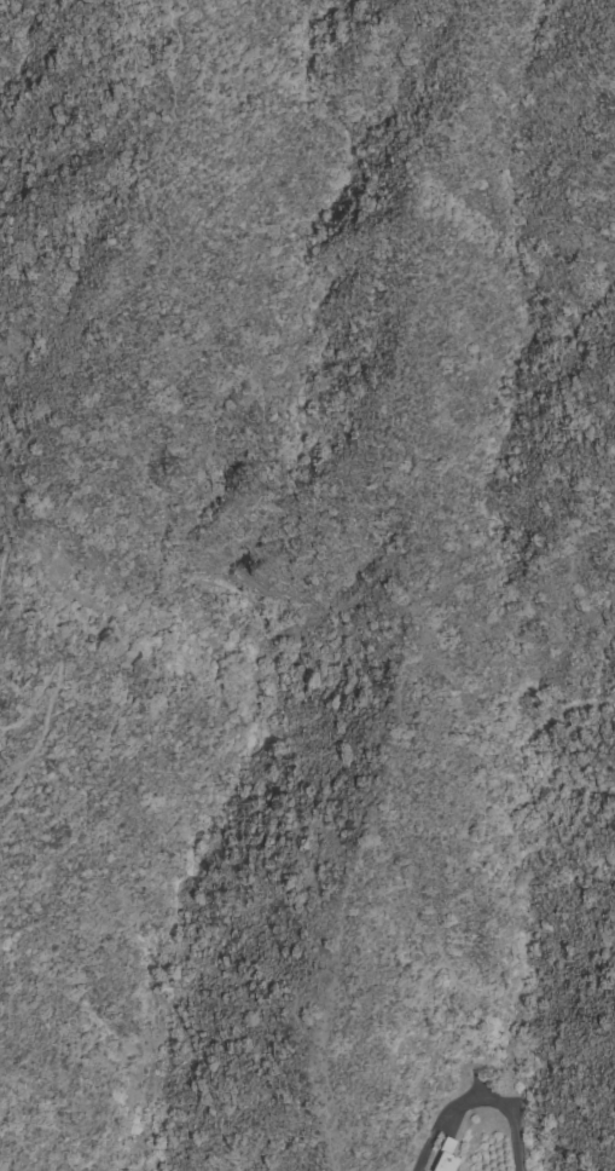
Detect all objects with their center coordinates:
road: (2, 1)
road: (167, 12)
road: (5, 555)
road: (52, 687)
road: (480, 1102)
building: (445, 1156)

